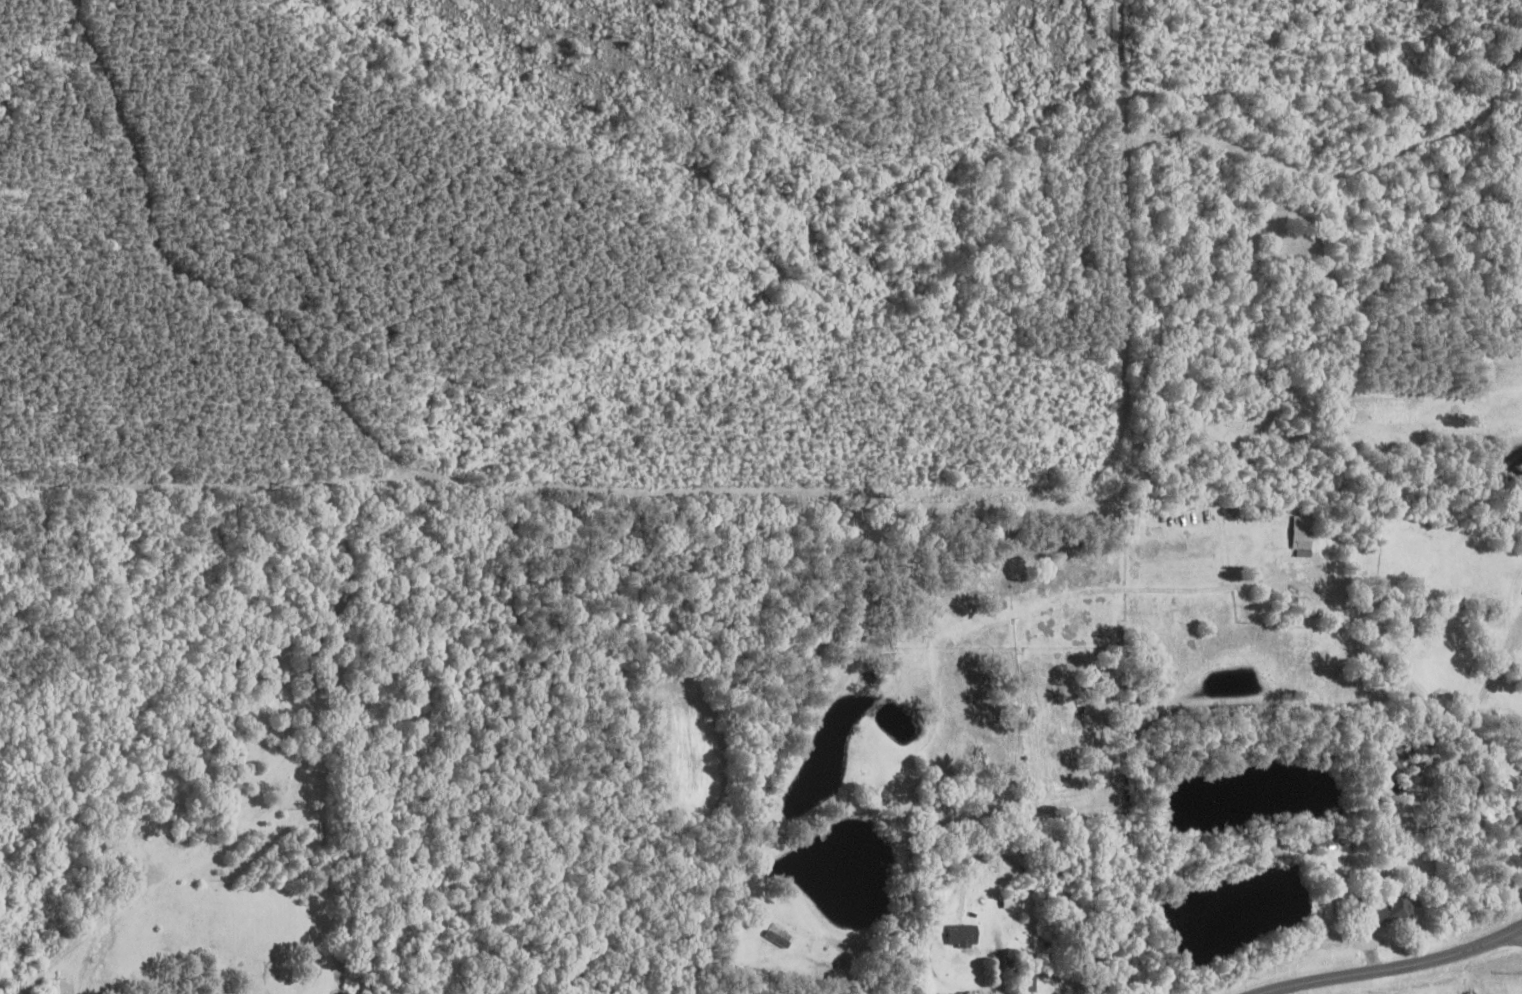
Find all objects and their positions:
building: (1304, 531)
road: (1379, 643)
building: (317, 763)
building: (1392, 906)
road: (1520, 927)
building: (966, 934)
building: (778, 938)
road: (1387, 966)

